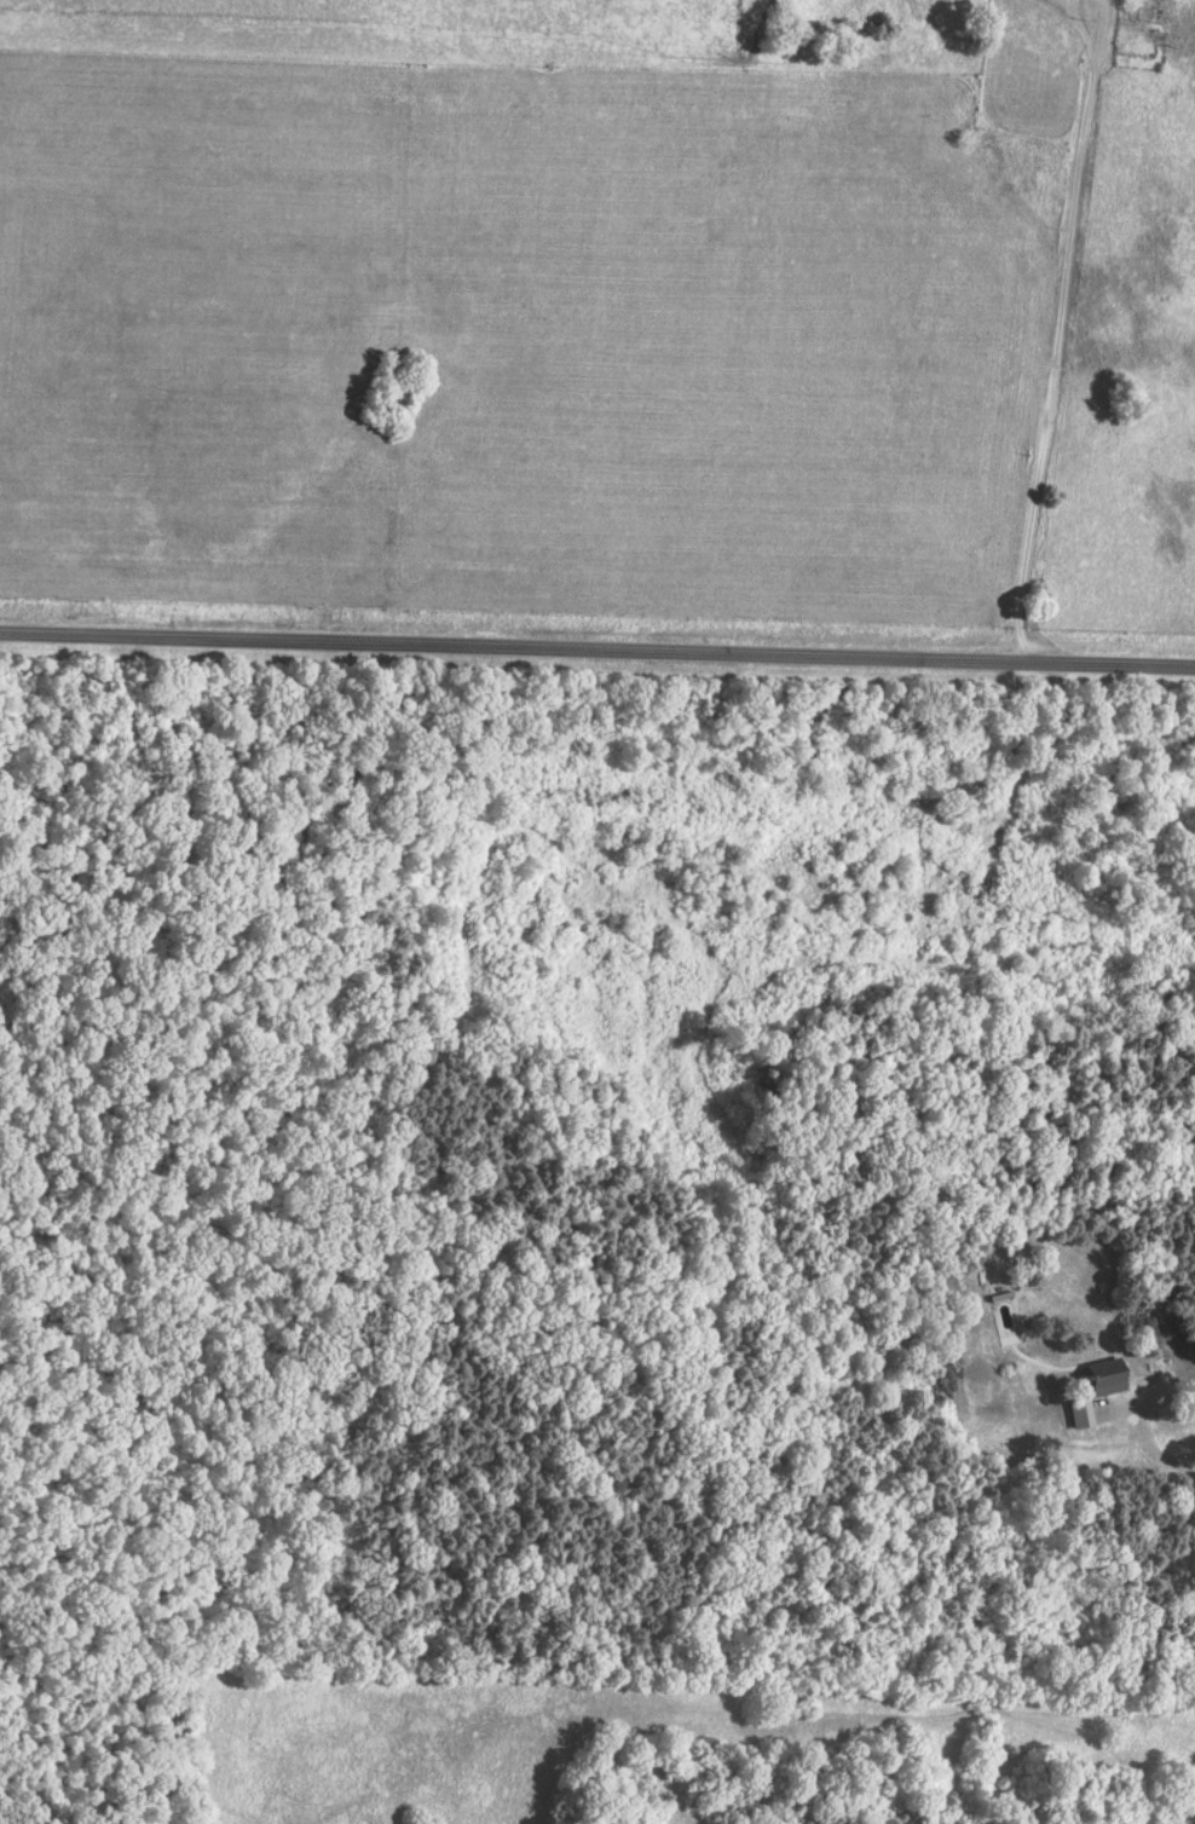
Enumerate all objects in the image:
building: (1145, 10)
road: (1080, 17)
road: (1096, 17)
road: (1053, 347)
road: (596, 648)
building: (1103, 1378)
building: (1079, 1414)

